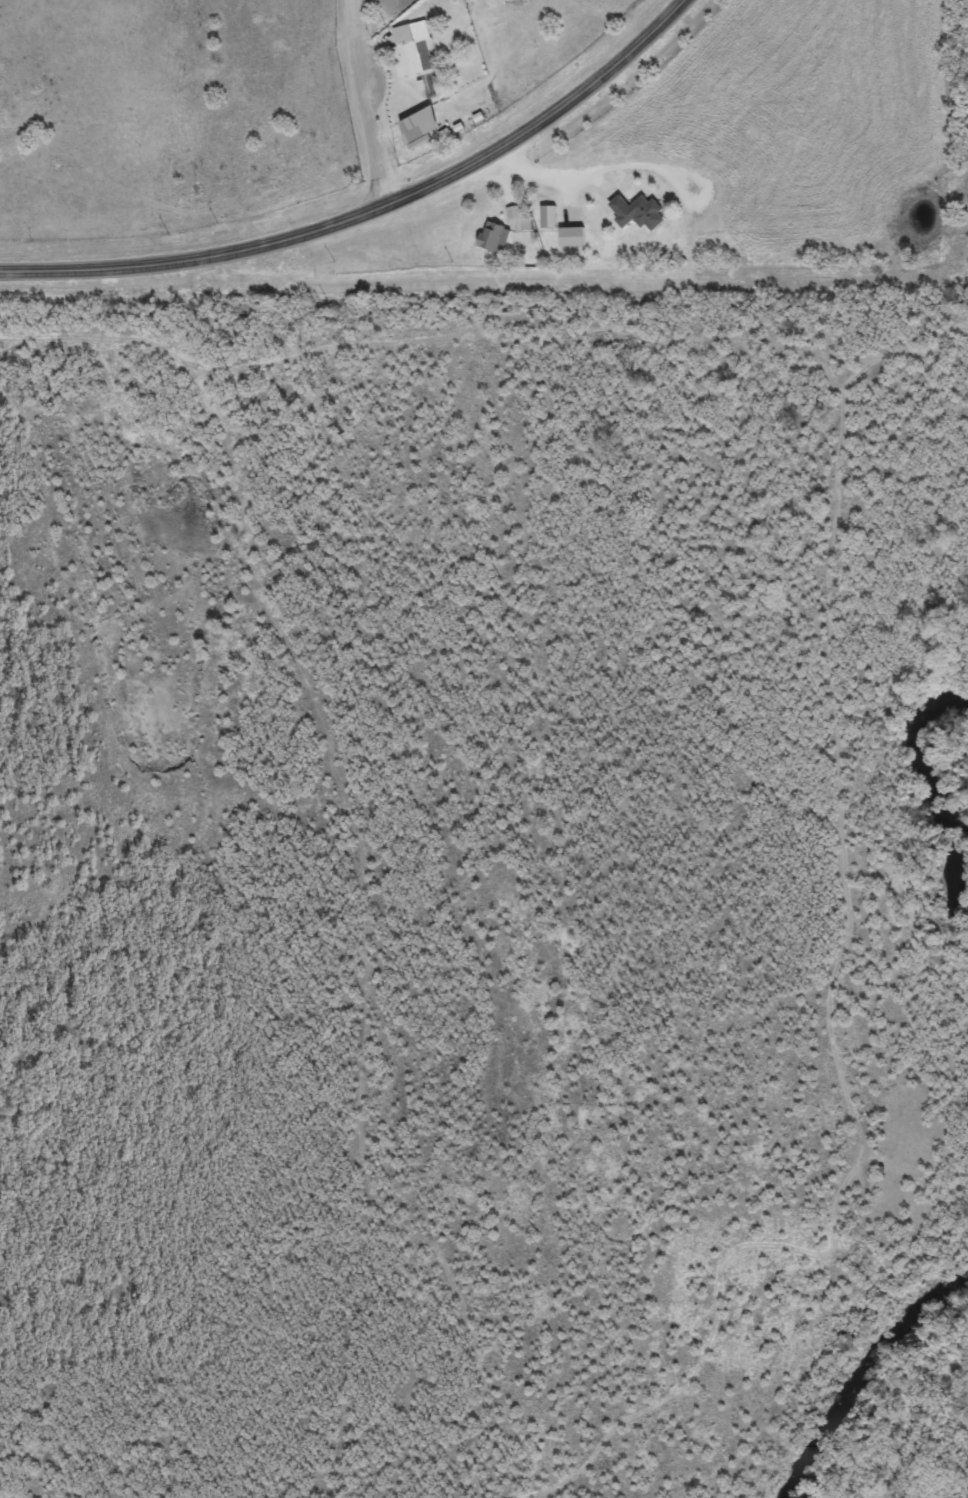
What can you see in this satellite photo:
building: (418, 56)
road: (366, 104)
building: (419, 126)
road: (638, 165)
road: (373, 211)
building: (513, 212)
building: (637, 212)
building: (548, 217)
building: (572, 236)
building: (494, 237)
road: (123, 326)

